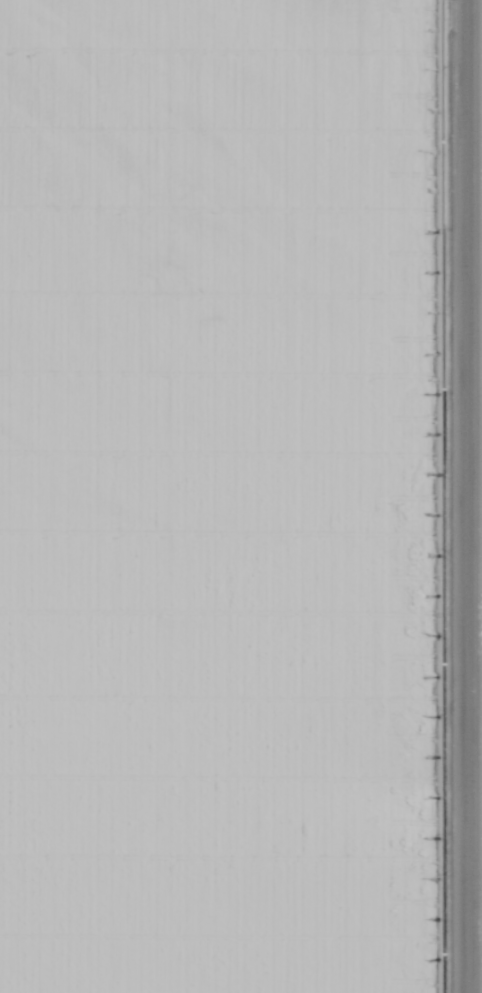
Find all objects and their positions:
road: (468, 496)

